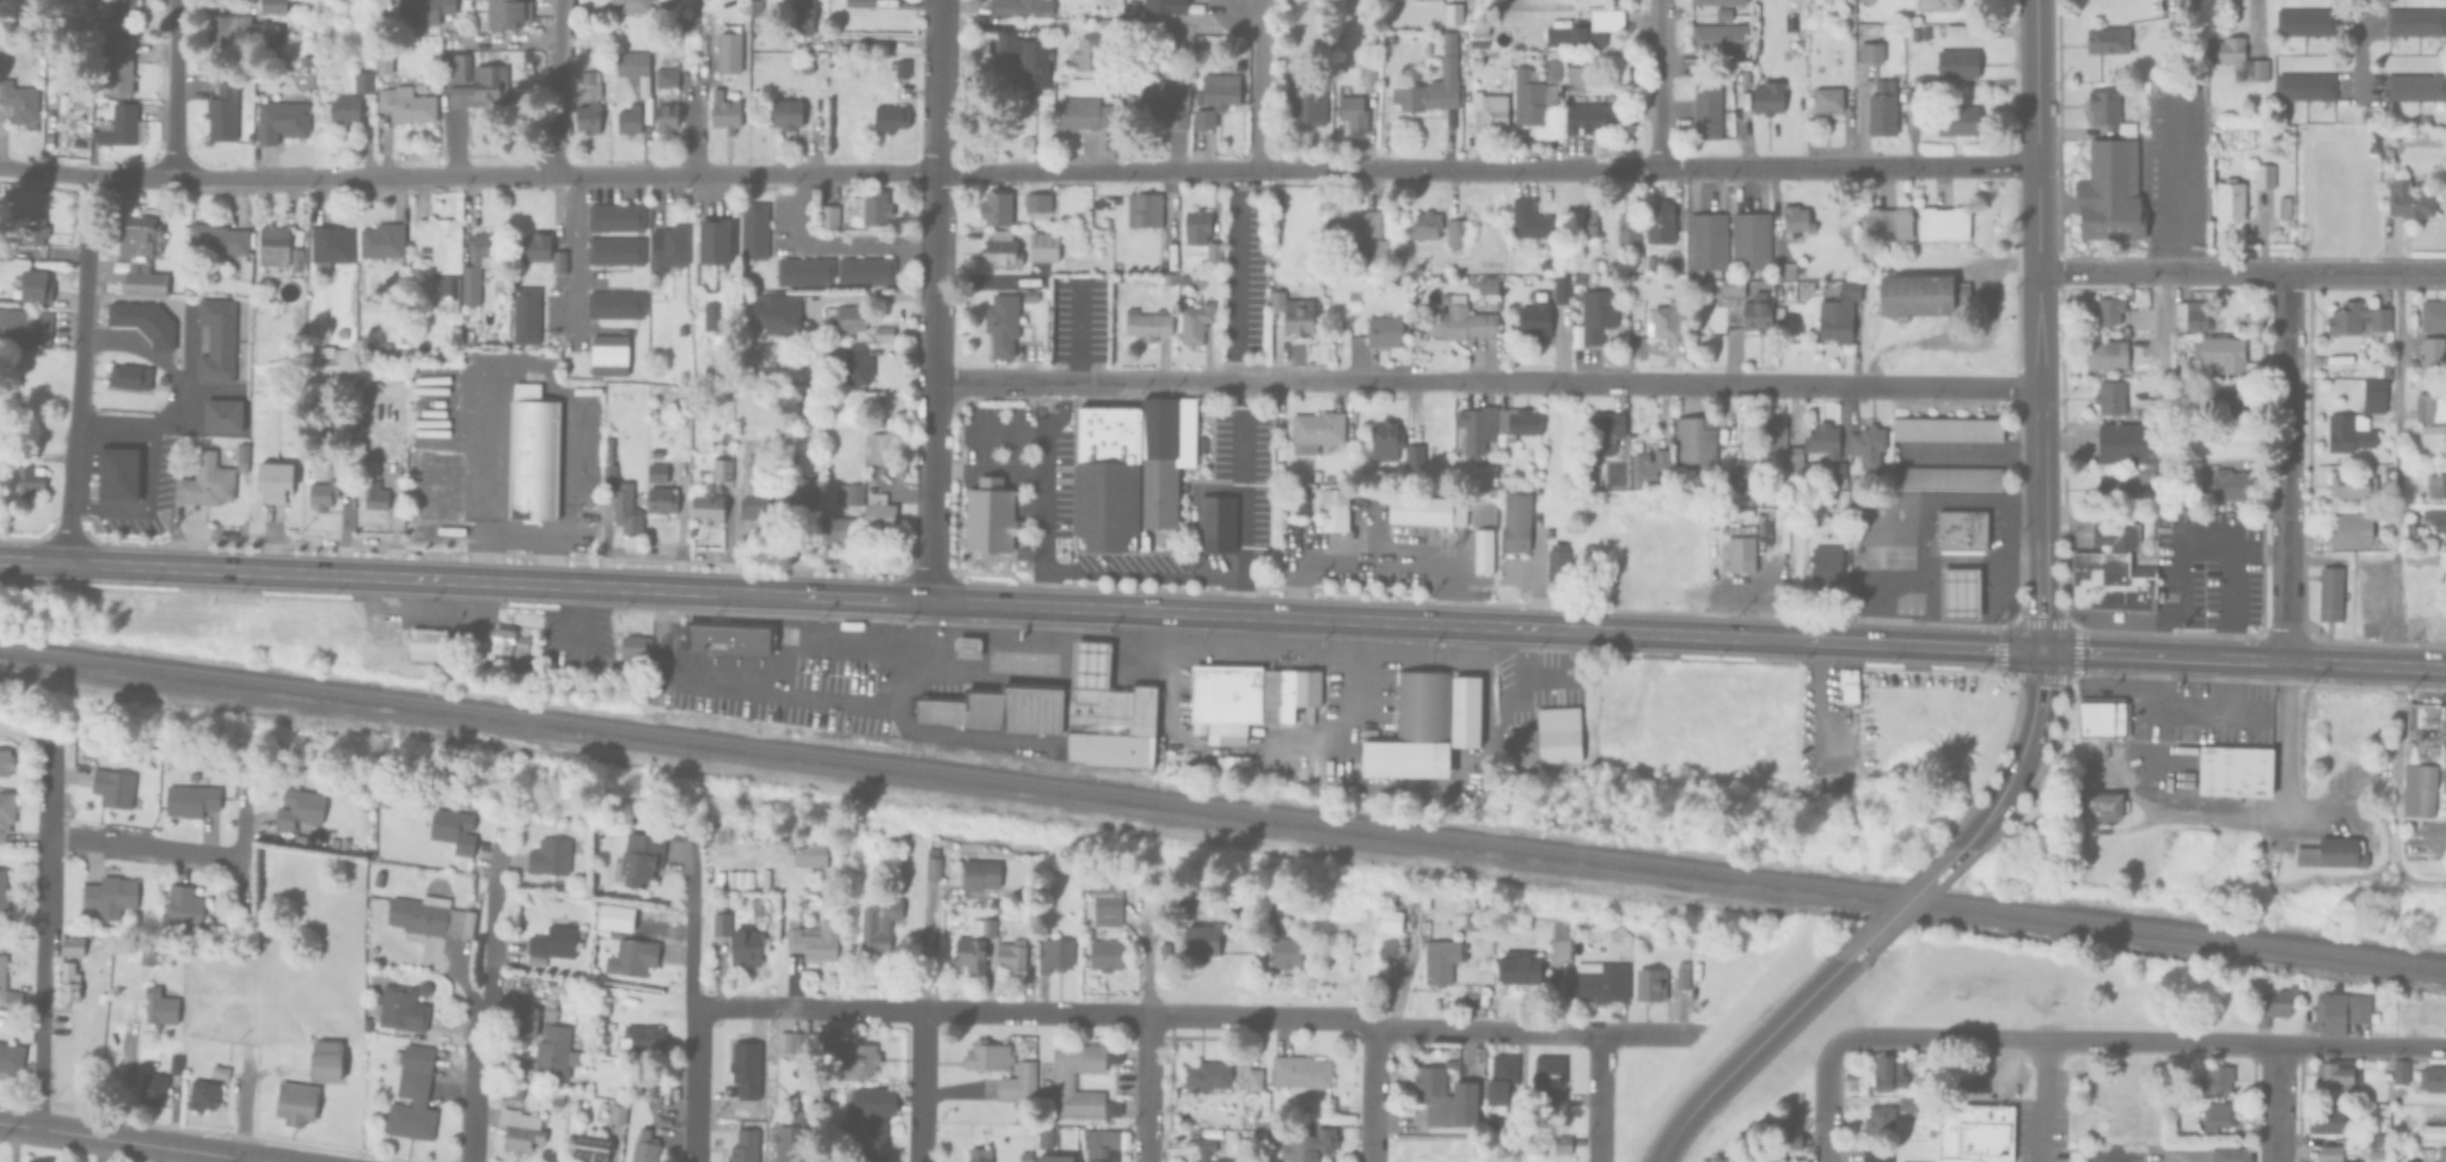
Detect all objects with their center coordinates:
building: (22, 1)
building: (1715, 1)
building: (864, 4)
building: (1937, 4)
building: (304, 6)
building: (1016, 6)
building: (1171, 6)
building: (633, 7)
building: (122, 8)
building: (1129, 10)
building: (759, 11)
building: (427, 12)
building: (1723, 12)
building: (1452, 13)
building: (510, 14)
building: (807, 18)
building: (1196, 18)
building: (2303, 20)
building: (2413, 20)
building: (253, 26)
building: (93, 29)
building: (1158, 29)
building: (1584, 29)
building: (1479, 30)
building: (1964, 31)
building: (309, 36)
building: (326, 37)
building: (1718, 37)
road: (2036, 38)
building: (2111, 39)
building: (1477, 43)
building: (734, 53)
building: (1081, 53)
building: (1871, 53)
building: (1024, 57)
building: (1504, 57)
building: (2239, 59)
building: (1957, 62)
building: (387, 63)
building: (123, 64)
building: (308, 64)
building: (1551, 66)
building: (636, 67)
building: (459, 70)
building: (903, 73)
building: (1367, 73)
building: (2445, 73)
building: (1575, 74)
building: (669, 76)
building: (1924, 79)
building: (1433, 84)
road: (1662, 84)
building: (2303, 85)
building: (366, 86)
road: (556, 88)
building: (2414, 88)
building: (648, 90)
building: (1219, 90)
road: (171, 91)
building: (484, 91)
building: (1912, 96)
building: (1767, 97)
building: (1528, 98)
building: (1827, 99)
building: (1163, 100)
building: (22, 105)
building: (407, 107)
building: (593, 107)
building: (1882, 109)
building: (1488, 111)
building: (1708, 111)
building: (2109, 111)
building: (344, 112)
building: (727, 112)
building: (1081, 112)
building: (1351, 112)
building: (225, 115)
building: (669, 117)
building: (791, 118)
building: (1449, 118)
building: (1589, 118)
building: (284, 121)
building: (893, 121)
building: (1957, 121)
building: (631, 123)
road: (694, 125)
building: (125, 129)
building: (81, 155)
building: (2114, 156)
road: (1018, 170)
building: (2261, 173)
road: (1239, 184)
road: (933, 186)
road: (2174, 186)
building: (2407, 199)
building: (1036, 202)
building: (2230, 202)
building: (2280, 204)
building: (2109, 207)
building: (995, 208)
building: (1142, 209)
building: (881, 211)
building: (758, 217)
building: (1170, 219)
building: (1797, 220)
building: (620, 221)
building: (832, 221)
building: (1529, 221)
building: (1589, 222)
building: (1943, 222)
building: (1661, 223)
building: (1887, 223)
building: (1426, 225)
building: (1196, 226)
building: (1627, 229)
building: (35, 233)
building: (1357, 234)
building: (141, 235)
building: (1455, 235)
building: (1706, 240)
building: (1751, 241)
building: (222, 242)
building: (385, 244)
building: (1041, 244)
building: (717, 245)
building: (445, 246)
building: (756, 246)
road: (829, 246)
building: (276, 248)
building: (1003, 248)
building: (332, 250)
building: (540, 251)
building: (672, 252)
building: (1213, 252)
road: (572, 254)
building: (619, 254)
building: (299, 263)
building: (562, 265)
building: (480, 268)
building: (1784, 270)
building: (247, 271)
building: (869, 271)
building: (809, 272)
road: (2240, 273)
building: (1167, 276)
building: (1396, 279)
building: (141, 282)
building: (1486, 282)
building: (1665, 282)
building: (801, 284)
building: (870, 284)
building: (1731, 288)
building: (38, 289)
building: (1918, 291)
building: (1029, 293)
building: (1561, 293)
building: (454, 299)
building: (2109, 307)
building: (619, 308)
building: (1293, 309)
building: (1564, 311)
building: (1757, 311)
building: (1857, 311)
building: (1839, 312)
building: (2432, 312)
building: (1532, 313)
building: (1596, 313)
building: (2190, 313)
building: (2355, 315)
building: (1194, 316)
building: (1455, 316)
building: (494, 318)
building: (779, 318)
building: (1667, 318)
building: (529, 319)
building: (718, 319)
building: (1003, 320)
building: (854, 321)
building: (1147, 321)
building: (27, 328)
building: (1383, 330)
building: (887, 338)
building: (220, 343)
building: (2429, 350)
building: (387, 352)
building: (2224, 353)
building: (335, 355)
building: (2107, 355)
building: (612, 358)
building: (445, 359)
building: (854, 362)
road: (2039, 364)
road: (78, 371)
road: (1105, 375)
road: (526, 376)
building: (133, 377)
road: (184, 377)
road: (1660, 380)
building: (2110, 394)
building: (2373, 394)
road: (2396, 400)
building: (2233, 401)
road: (1061, 406)
building: (2144, 406)
building: (2429, 408)
building: (759, 411)
building: (227, 417)
building: (879, 418)
building: (1515, 420)
building: (1476, 425)
building: (1947, 426)
road: (106, 428)
road: (1007, 428)
building: (1314, 428)
building: (2346, 429)
building: (1602, 430)
building: (1774, 430)
building: (1135, 435)
building: (1385, 437)
building: (1821, 437)
building: (2127, 441)
building: (1693, 442)
building: (1866, 444)
building: (875, 445)
building: (1412, 453)
building: (535, 456)
building: (1791, 456)
building: (244, 459)
building: (1647, 461)
building: (342, 465)
building: (612, 465)
building: (899, 465)
road: (2286, 466)
building: (725, 469)
building: (1745, 469)
road: (986, 471)
building: (2145, 471)
building: (373, 472)
building: (1838, 472)
building: (121, 475)
building: (660, 475)
building: (1945, 475)
building: (31, 481)
building: (2349, 481)
building: (278, 482)
building: (2435, 482)
building: (209, 484)
building: (2116, 484)
building: (2229, 484)
road: (928, 487)
building: (1485, 490)
building: (847, 491)
building: (759, 493)
building: (807, 493)
building: (1293, 494)
building: (324, 496)
road: (1240, 496)
building: (378, 498)
building: (1817, 499)
road: (1894, 499)
building: (1151, 502)
building: (664, 503)
road: (147, 505)
building: (1417, 506)
building: (1332, 508)
building: (1101, 509)
building: (1457, 509)
building: (710, 510)
building: (876, 510)
building: (631, 511)
building: (987, 514)
building: (2435, 515)
road: (1041, 517)
building: (1515, 519)
building: (1214, 521)
building: (2349, 527)
building: (1736, 528)
building: (1958, 529)
building: (1397, 530)
building: (2116, 533)
building: (847, 534)
building: (2444, 543)
building: (1482, 548)
building: (1740, 552)
building: (1760, 553)
building: (1823, 559)
building: (1556, 560)
road: (1964, 561)
road: (1295, 562)
road: (2177, 570)
road: (1139, 574)
road: (2226, 574)
building: (2109, 580)
building: (2327, 590)
building: (1957, 592)
gas station: (1957, 592)
road: (1020, 605)
road: (581, 614)
road: (926, 635)
building: (706, 637)
building: (753, 639)
road: (859, 640)
road: (1004, 640)
building: (510, 644)
building: (430, 645)
building: (965, 646)
gas station: (965, 646)
road: (965, 646)
road: (1041, 647)
road: (1142, 650)
road: (1055, 651)
road: (1089, 652)
traffic signals: (2042, 652)
building: (638, 653)
building: (626, 654)
road: (2244, 656)
building: (1089, 664)
gas station: (1089, 664)
building: (1847, 683)
building: (1292, 689)
building: (658, 691)
road: (1819, 696)
road: (792, 697)
building: (1226, 699)
building: (998, 707)
road: (2190, 711)
building: (2099, 718)
building: (1423, 724)
building: (1109, 725)
road: (931, 730)
building: (1571, 734)
building: (1544, 737)
road: (2285, 739)
building: (1513, 744)
building: (91, 749)
road: (1270, 750)
road: (2024, 760)
building: (1233, 762)
building: (2423, 762)
building: (7, 764)
building: (2233, 769)
building: (116, 789)
road: (2395, 793)
building: (194, 803)
railway: (1222, 803)
building: (388, 804)
building: (2102, 804)
building: (302, 810)
building: (364, 810)
road: (2174, 816)
building: (7, 817)
building: (643, 826)
building: (455, 832)
building: (336, 843)
road: (145, 847)
building: (335, 849)
building: (2329, 850)
building: (814, 856)
building: (553, 860)
building: (645, 861)
building: (787, 861)
building: (792, 861)
building: (932, 862)
building: (980, 873)
building: (742, 881)
building: (742, 890)
building: (4, 892)
building: (1191, 897)
building: (112, 898)
building: (836, 900)
building: (1106, 903)
building: (979, 904)
building: (186, 909)
road: (1906, 909)
building: (433, 920)
building: (1471, 920)
building: (618, 921)
building: (724, 926)
building: (877, 926)
building: (982, 926)
building: (1526, 929)
building: (1559, 935)
building: (1201, 939)
road: (43, 940)
building: (817, 943)
building: (1277, 943)
building: (558, 945)
building: (74, 947)
building: (748, 952)
building: (969, 952)
building: (1386, 952)
building: (1010, 953)
building: (1055, 953)
building: (1104, 953)
building: (633, 959)
building: (1440, 959)
building: (149, 960)
building: (539, 964)
building: (1518, 966)
road: (1148, 971)
building: (1682, 973)
building: (2, 975)
building: (1602, 979)
building: (1649, 983)
building: (71, 984)
building: (428, 990)
road: (486, 1000)
building: (2274, 1001)
building: (161, 1009)
building: (2337, 1009)
building: (404, 1012)
road: (920, 1012)
building: (534, 1015)
road: (1203, 1016)
road: (693, 1021)
building: (329, 1028)
road: (921, 1032)
road: (1476, 1032)
building: (822, 1040)
building: (645, 1041)
road: (2139, 1043)
building: (795, 1045)
building: (92, 1053)
building: (557, 1056)
road: (1745, 1056)
road: (128, 1057)
building: (854, 1057)
building: (12, 1060)
building: (330, 1063)
building: (1007, 1063)
building: (2176, 1063)
building: (177, 1065)
building: (1503, 1066)
building: (2397, 1069)
building: (1300, 1071)
building: (1889, 1071)
building: (2334, 1071)
building: (221, 1074)
building: (1207, 1074)
building: (2432, 1076)
building: (1253, 1077)
building: (2215, 1077)
building: (1549, 1078)
building: (1058, 1080)
building: (1852, 1088)
building: (652, 1089)
building: (820, 1089)
road: (1145, 1089)
building: (155, 1090)
building: (511, 1094)
road: (1369, 1094)
building: (204, 1096)
building: (1446, 1096)
building: (415, 1098)
road: (1598, 1099)
road: (2041, 1101)
road: (1822, 1102)
building: (1908, 1102)
road: (2274, 1103)
building: (299, 1106)
road: (241, 1107)
building: (619, 1113)
building: (2218, 1115)
building: (1880, 1118)
building: (2327, 1118)
building: (869, 1121)
building: (740, 1127)
building: (2433, 1130)
building: (522, 1132)
building: (1973, 1132)
building: (1044, 1136)
building: (1791, 1138)
building: (2360, 1138)
building: (793, 1139)
road: (124, 1142)
building: (1099, 1143)
building: (1563, 1143)
building: (1301, 1146)
building: (646, 1148)
building: (595, 1149)
building: (1208, 1150)
building: (2329, 1150)
building: (2232, 1152)
building: (2375, 1152)
building: (742, 1154)
building: (980, 1154)
building: (1876, 1154)
building: (2421, 1154)
building: (2440, 1154)
building: (1026, 1155)
road: (2113, 1156)
building: (1055, 1157)
road: (240, 1161)
building: (2337, 1161)

